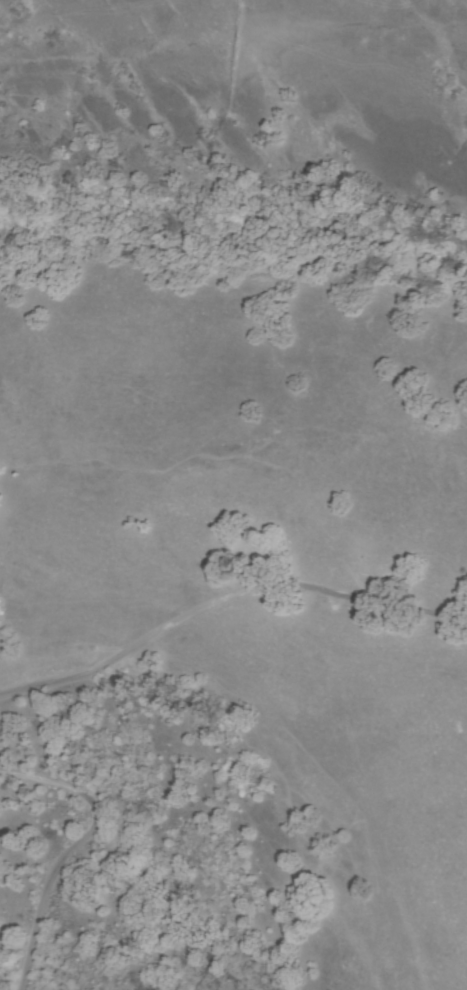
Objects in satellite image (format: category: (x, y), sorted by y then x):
road: (225, 604)

